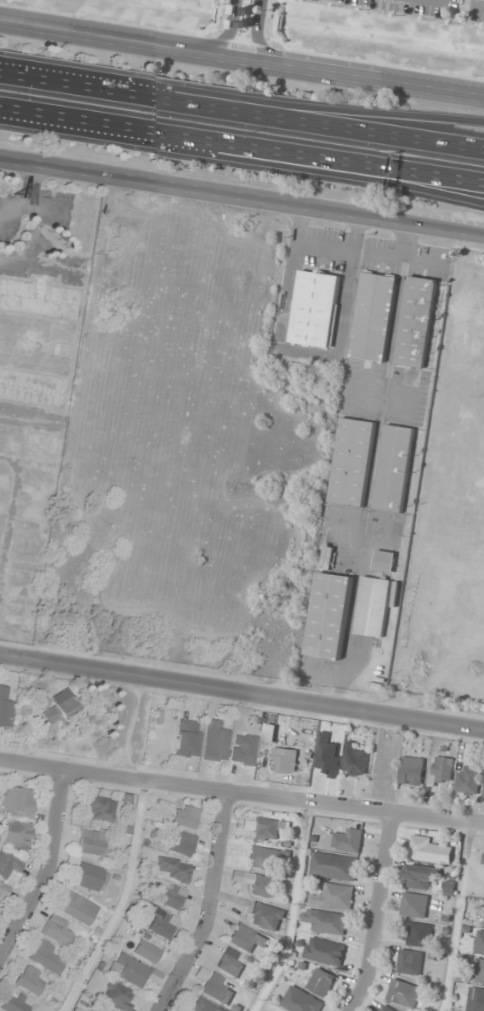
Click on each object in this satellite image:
road: (479, 5)
road: (226, 33)
road: (259, 36)
road: (241, 60)
road: (255, 99)
road: (241, 113)
road: (242, 146)
road: (300, 169)
road: (242, 195)
building: (58, 302)
building: (317, 309)
building: (376, 317)
building: (418, 322)
building: (354, 462)
building: (396, 468)
building: (386, 561)
building: (374, 607)
building: (331, 616)
road: (242, 690)
building: (5, 706)
building: (56, 706)
building: (186, 738)
building: (215, 741)
building: (244, 749)
building: (284, 760)
building: (357, 761)
building: (412, 770)
building: (443, 770)
building: (469, 780)
road: (241, 793)
building: (483, 795)
building: (17, 801)
building: (101, 810)
building: (185, 817)
building: (267, 829)
building: (16, 835)
building: (350, 840)
building: (91, 843)
building: (182, 843)
building: (428, 849)
building: (263, 858)
building: (483, 862)
road: (46, 866)
building: (334, 866)
building: (8, 867)
building: (174, 869)
building: (88, 875)
building: (422, 876)
building: (263, 885)
building: (3, 891)
building: (333, 896)
building: (170, 897)
building: (415, 905)
road: (208, 907)
building: (77, 908)
road: (374, 912)
building: (268, 916)
building: (327, 921)
building: (162, 926)
building: (56, 930)
building: (420, 935)
building: (247, 938)
building: (480, 942)
building: (146, 951)
building: (324, 951)
building: (46, 957)
building: (410, 962)
building: (230, 963)
building: (129, 971)
building: (481, 972)
building: (30, 980)
building: (321, 982)
building: (217, 989)
building: (404, 993)
building: (117, 997)
building: (476, 1000)
building: (301, 1001)
building: (15, 1003)
building: (204, 1006)
building: (387, 1008)

